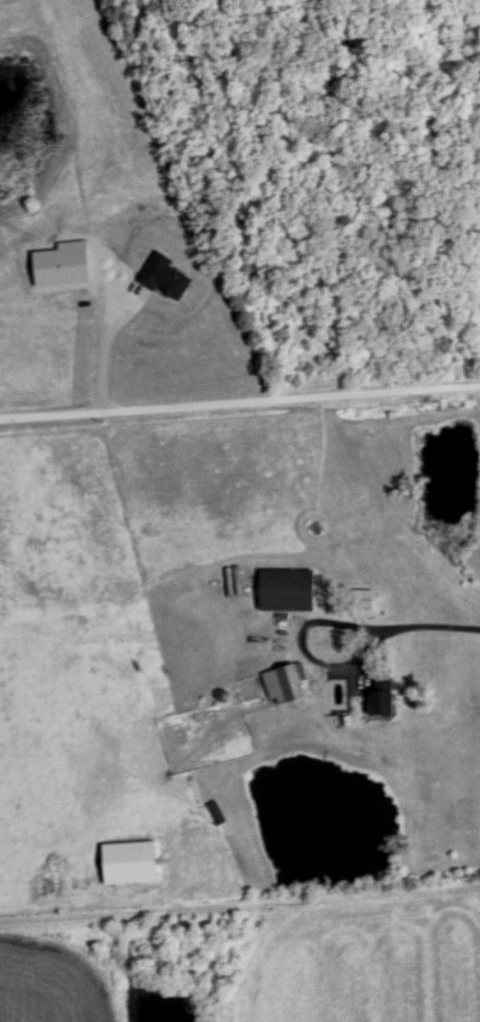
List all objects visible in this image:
road: (240, 407)
building: (285, 592)
building: (359, 606)
road: (376, 633)
building: (284, 685)
building: (376, 705)
building: (216, 815)
road: (283, 900)

